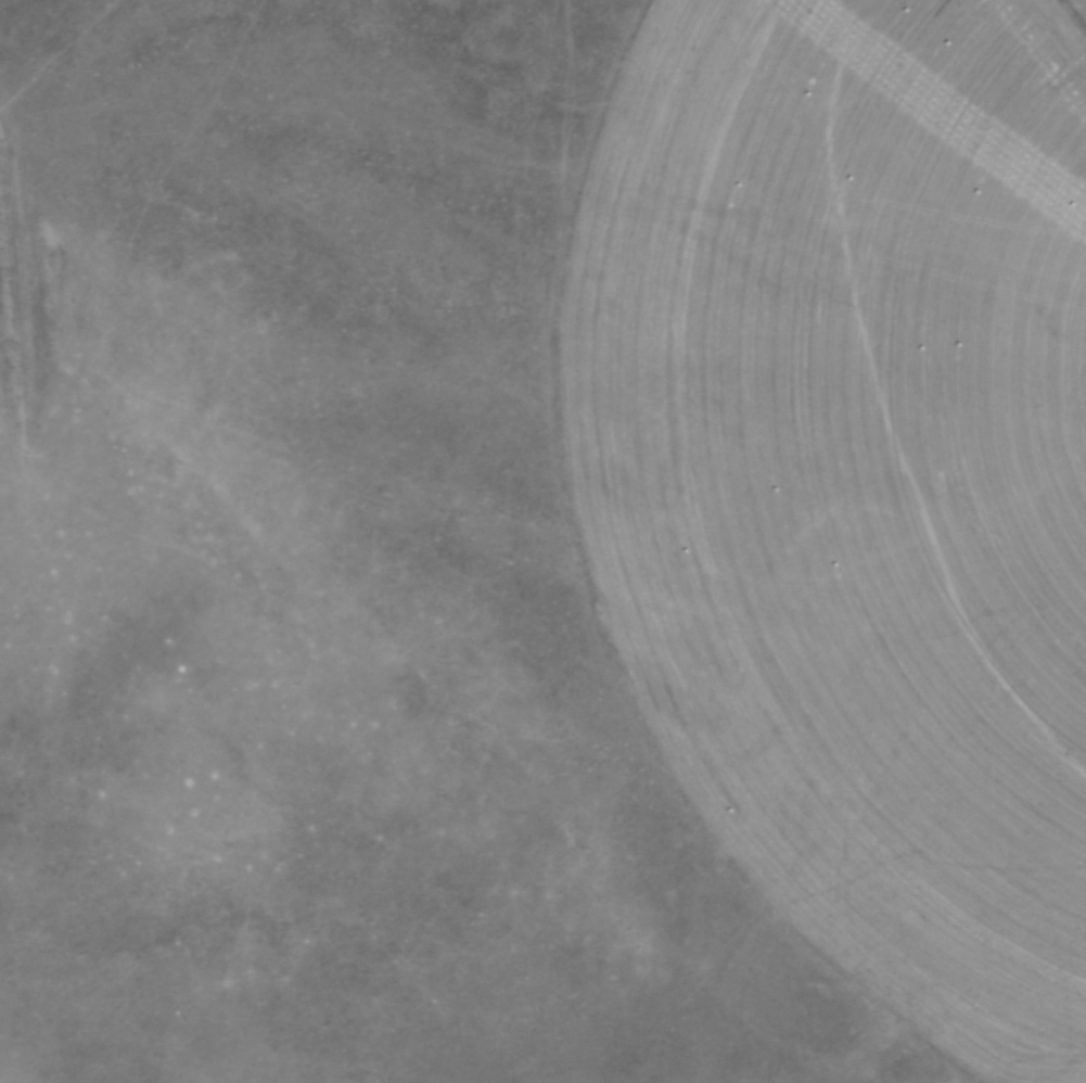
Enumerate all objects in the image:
crop: (855, 480)

